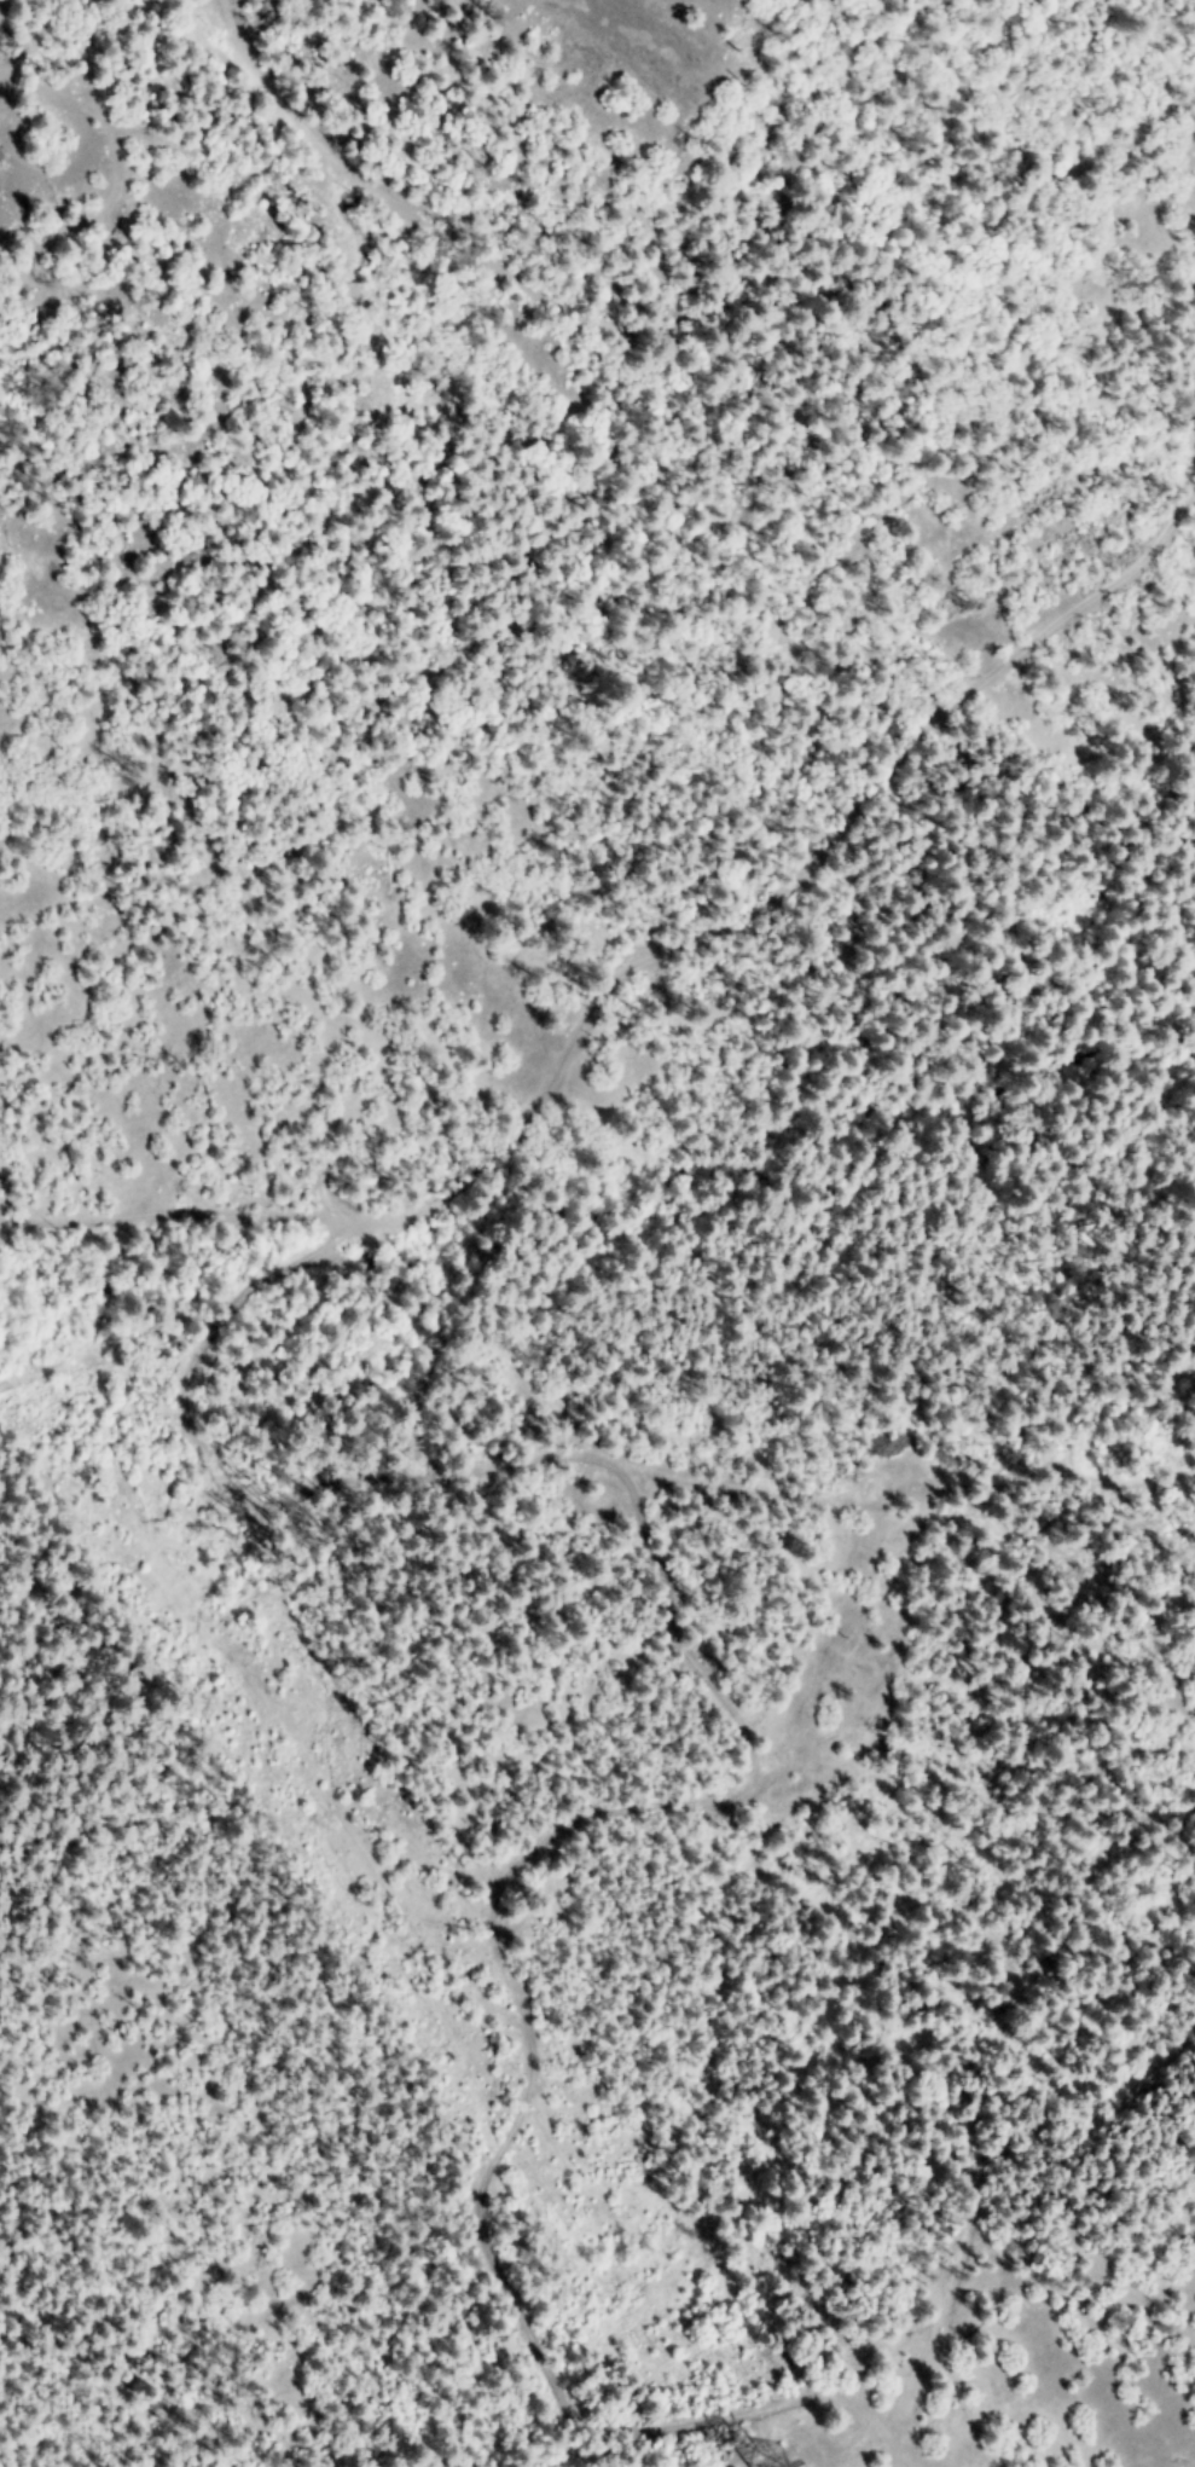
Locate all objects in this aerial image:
power tower: (766, 2466)

